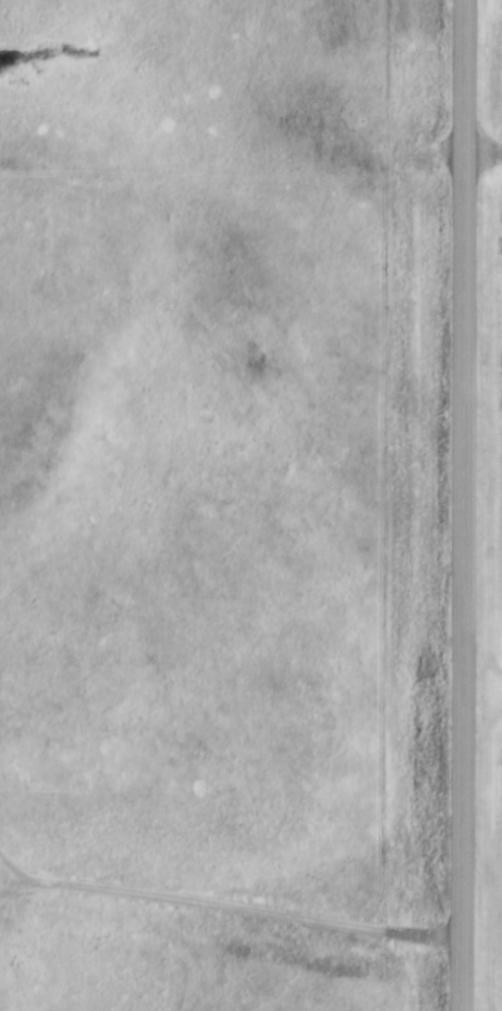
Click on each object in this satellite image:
road: (483, 151)
road: (464, 505)
road: (12, 881)
road: (225, 905)

